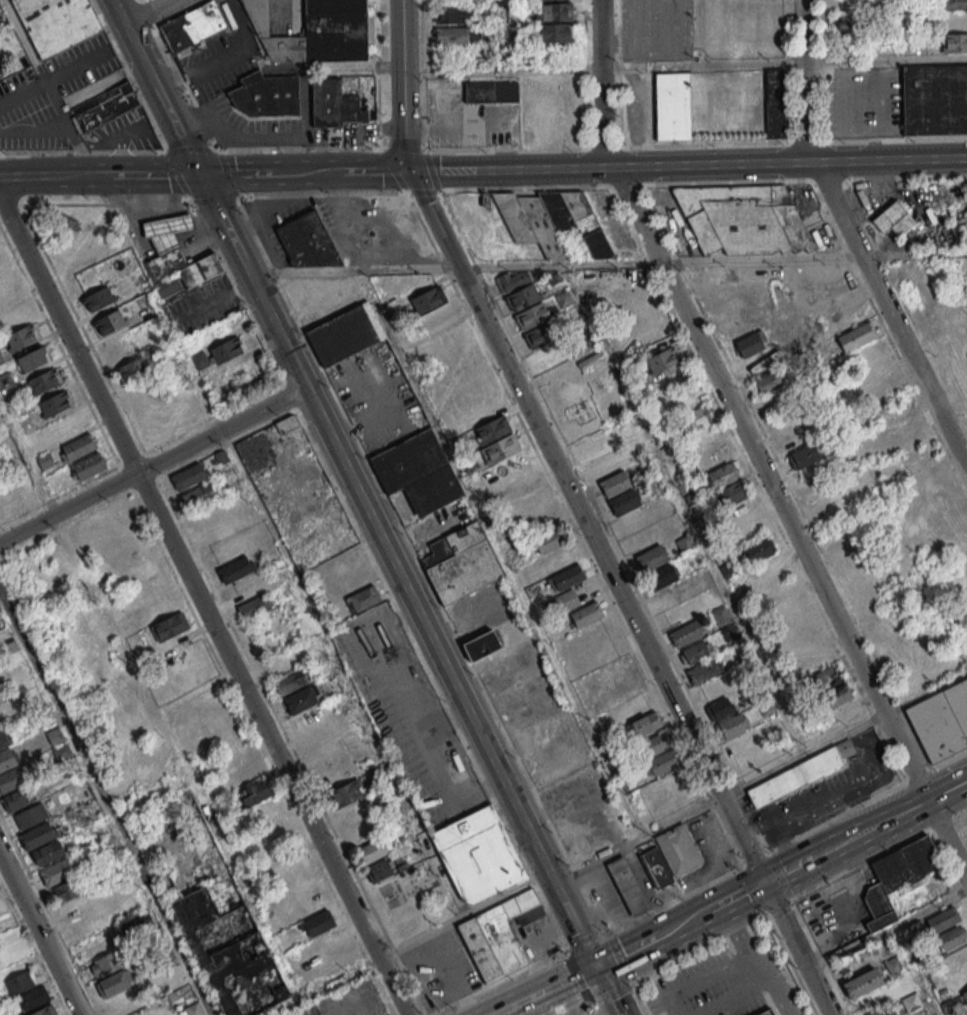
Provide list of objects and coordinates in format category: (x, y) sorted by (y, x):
building: (954, 4)
building: (845, 6)
building: (486, 10)
building: (555, 11)
road: (147, 12)
building: (455, 13)
building: (57, 23)
building: (848, 25)
building: (192, 26)
building: (757, 27)
building: (316, 32)
building: (554, 32)
building: (457, 34)
building: (954, 42)
road: (884, 59)
road: (701, 65)
road: (295, 67)
road: (500, 70)
building: (0, 80)
road: (802, 81)
road: (400, 85)
road: (600, 85)
road: (49, 86)
road: (154, 88)
building: (934, 99)
building: (262, 100)
building: (103, 101)
building: (520, 103)
building: (775, 103)
building: (335, 104)
building: (672, 105)
road: (791, 162)
road: (511, 169)
traffic signals: (408, 171)
road: (379, 172)
road: (317, 174)
road: (241, 175)
road: (160, 176)
traffic signals: (199, 176)
road: (60, 177)
road: (483, 189)
road: (214, 208)
building: (744, 219)
building: (893, 219)
building: (552, 221)
building: (170, 230)
building: (955, 231)
building: (311, 240)
road: (814, 257)
building: (1, 260)
building: (76, 263)
building: (167, 263)
road: (454, 266)
building: (830, 279)
building: (86, 282)
building: (723, 287)
building: (628, 291)
building: (522, 296)
building: (427, 298)
building: (563, 298)
building: (97, 299)
building: (533, 315)
road: (887, 317)
building: (436, 318)
building: (108, 323)
building: (540, 333)
building: (342, 335)
building: (857, 335)
building: (22, 336)
building: (446, 336)
building: (751, 343)
building: (227, 349)
building: (547, 354)
building: (32, 359)
building: (662, 359)
building: (130, 369)
building: (764, 372)
building: (465, 373)
building: (44, 381)
building: (474, 391)
building: (53, 404)
building: (695, 419)
building: (287, 423)
building: (906, 426)
building: (493, 428)
building: (77, 447)
building: (500, 448)
building: (710, 452)
building: (601, 455)
building: (805, 455)
road: (153, 464)
building: (88, 466)
building: (511, 466)
building: (418, 471)
building: (722, 474)
building: (189, 475)
building: (522, 484)
building: (619, 492)
building: (199, 494)
building: (730, 494)
building: (532, 504)
building: (741, 512)
road: (790, 519)
road: (588, 526)
building: (548, 540)
building: (760, 548)
road: (391, 556)
building: (559, 558)
building: (462, 562)
building: (657, 566)
building: (235, 569)
building: (728, 569)
building: (565, 578)
building: (363, 598)
building: (561, 602)
building: (789, 604)
building: (255, 606)
road: (208, 607)
building: (586, 613)
building: (719, 614)
building: (169, 625)
building: (729, 632)
building: (689, 633)
building: (481, 645)
building: (695, 651)
building: (818, 658)
building: (703, 671)
building: (828, 677)
building: (291, 680)
building: (837, 695)
building: (300, 700)
building: (719, 708)
building: (942, 721)
building: (643, 724)
building: (732, 725)
building: (55, 735)
building: (655, 743)
road: (805, 754)
building: (662, 763)
building: (8, 764)
building: (799, 774)
road: (833, 787)
road: (949, 790)
building: (256, 791)
building: (346, 793)
building: (15, 799)
road: (108, 801)
building: (30, 816)
road: (876, 827)
road: (786, 841)
building: (42, 843)
building: (374, 849)
building: (681, 849)
building: (478, 855)
road: (881, 855)
building: (658, 867)
road: (794, 868)
building: (382, 869)
building: (56, 872)
building: (898, 877)
traffic signals: (768, 883)
building: (630, 886)
building: (64, 891)
road: (744, 895)
road: (782, 906)
road: (466, 916)
road: (701, 918)
building: (943, 919)
road: (574, 921)
building: (318, 923)
road: (43, 930)
road: (889, 931)
building: (913, 932)
building: (499, 934)
building: (952, 937)
building: (8, 943)
road: (530, 943)
road: (700, 947)
road: (641, 948)
road: (800, 949)
building: (230, 955)
building: (955, 957)
road: (415, 960)
building: (334, 962)
building: (106, 963)
traffic signals: (601, 968)
road: (726, 968)
road: (451, 974)
building: (873, 977)
building: (20, 981)
road: (777, 981)
building: (115, 983)
road: (555, 989)
road: (612, 991)
road: (613, 992)
road: (735, 995)
building: (965, 995)
road: (642, 997)
building: (32, 998)
road: (569, 1000)
road: (580, 1008)
road: (598, 1008)
building: (45, 1011)
road: (617, 1012)
building: (766, 1012)
road: (506, 1013)
road: (511, 1013)
building: (294, 1014)

